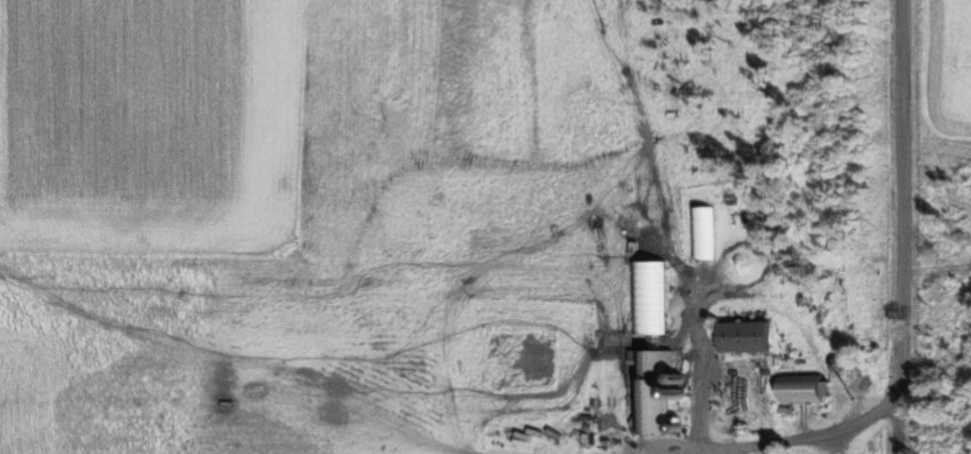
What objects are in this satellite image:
road: (920, 234)
building: (704, 236)
building: (648, 301)
building: (744, 340)
building: (650, 394)
building: (764, 394)
building: (804, 395)

